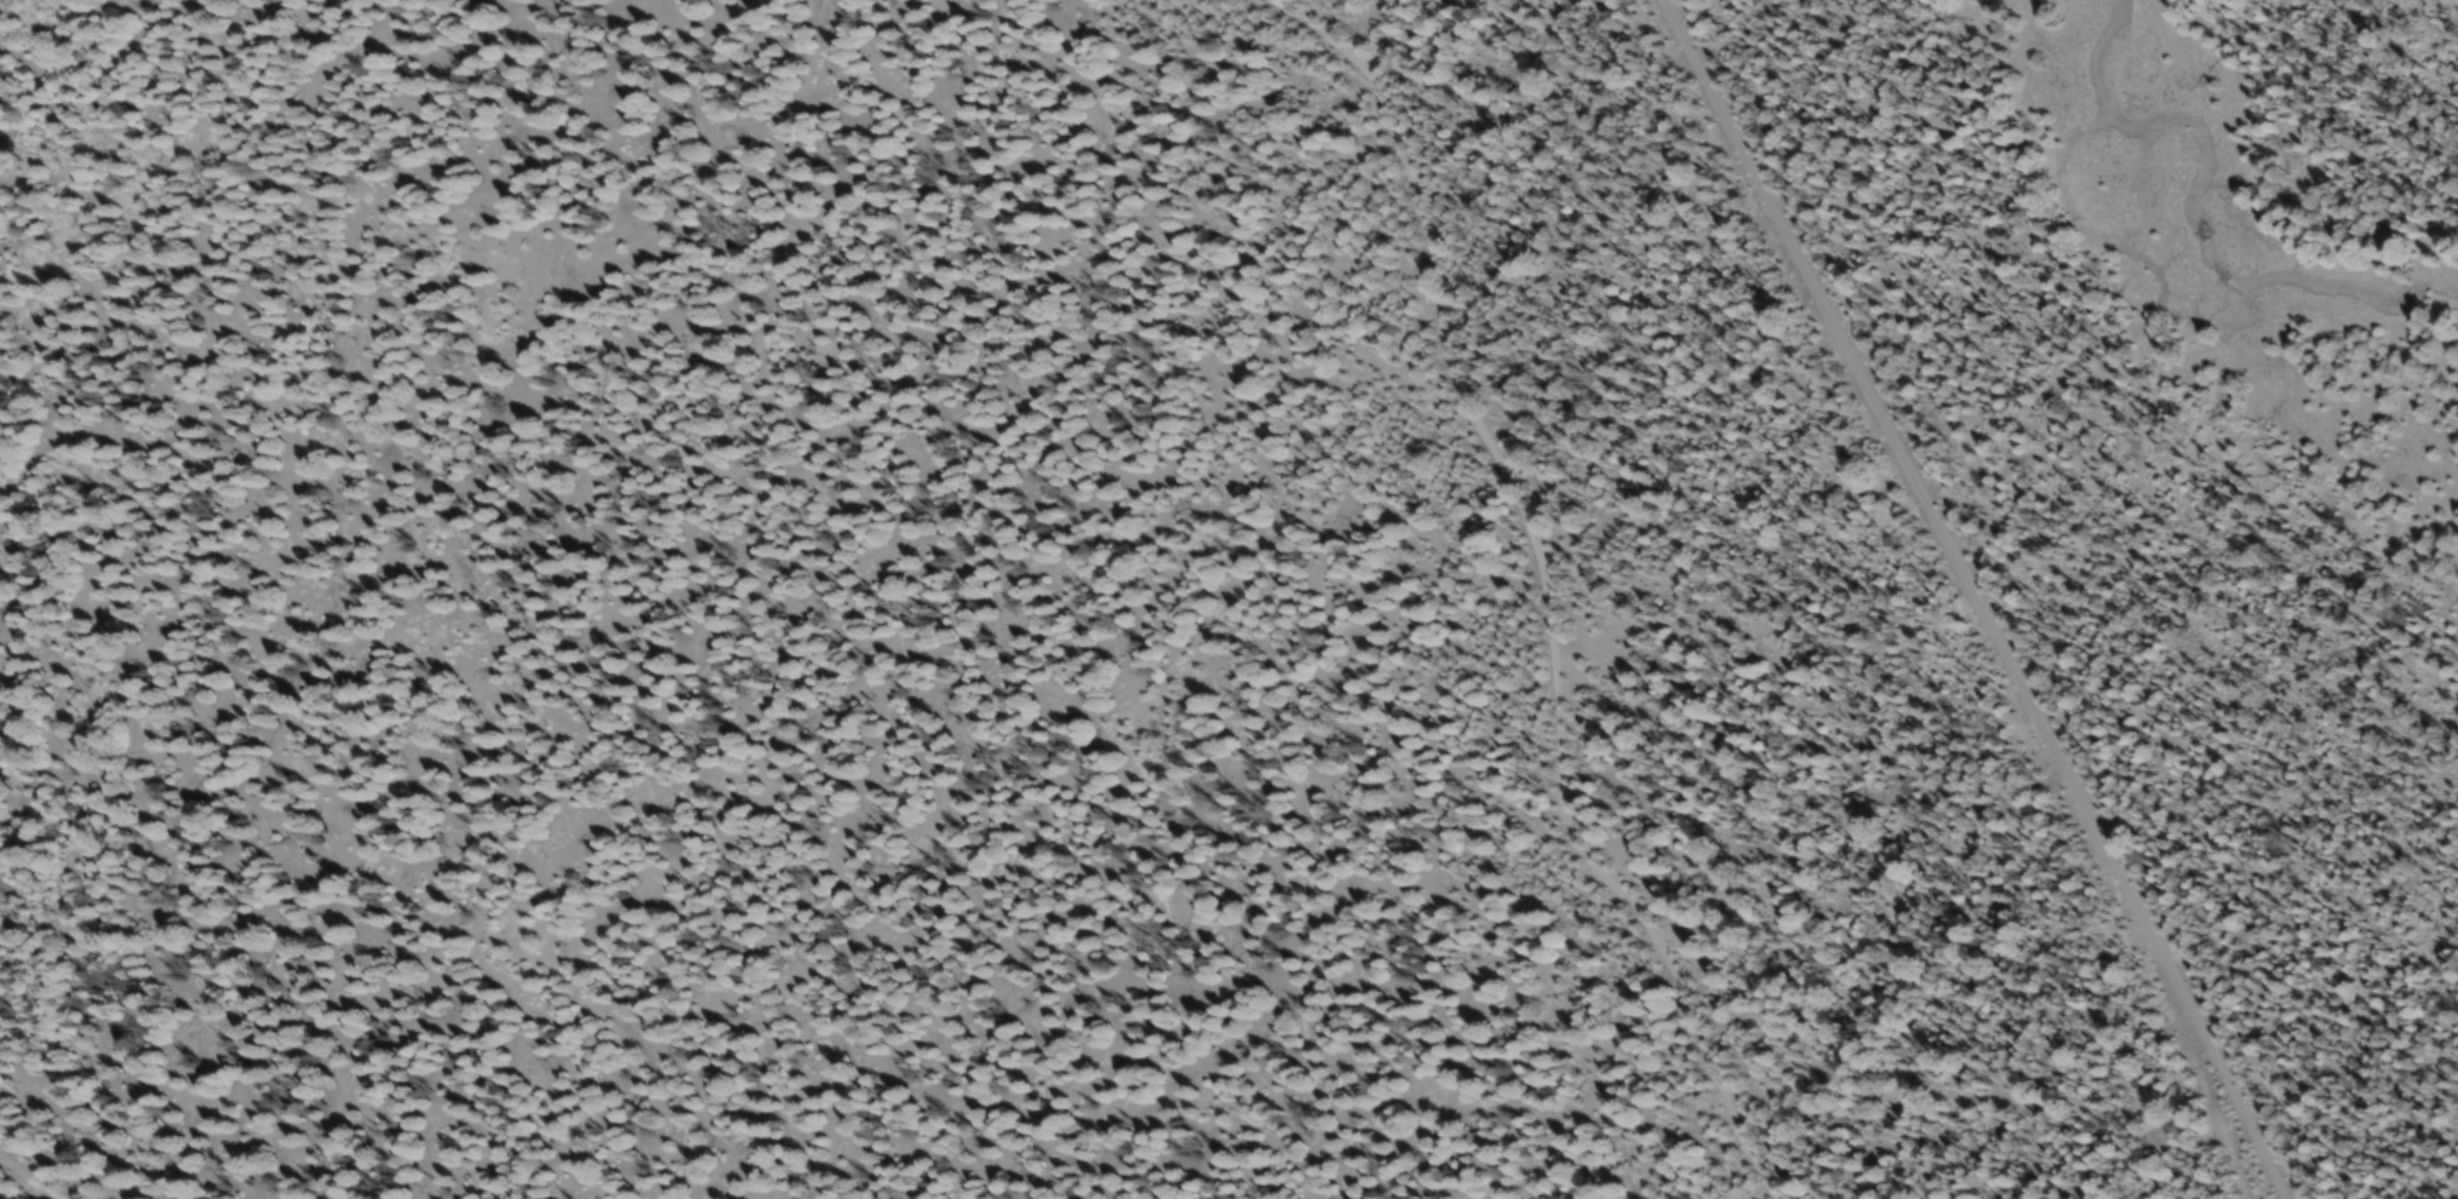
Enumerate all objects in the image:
road: (1551, 593)
road: (379, 799)
road: (40, 1174)

